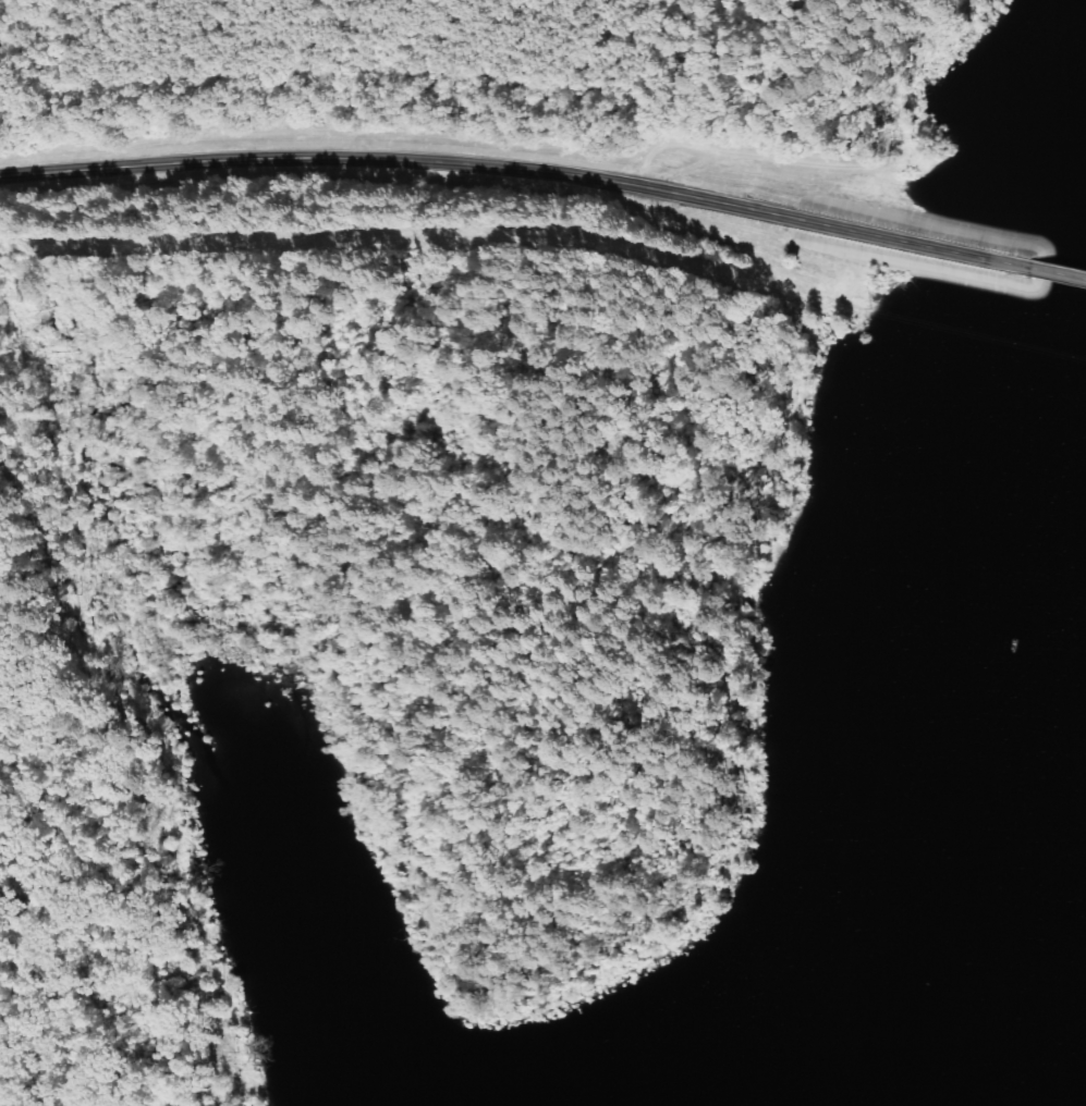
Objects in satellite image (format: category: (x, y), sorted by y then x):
road: (402, 157)
road: (911, 241)
road: (1053, 271)
road: (358, 503)

